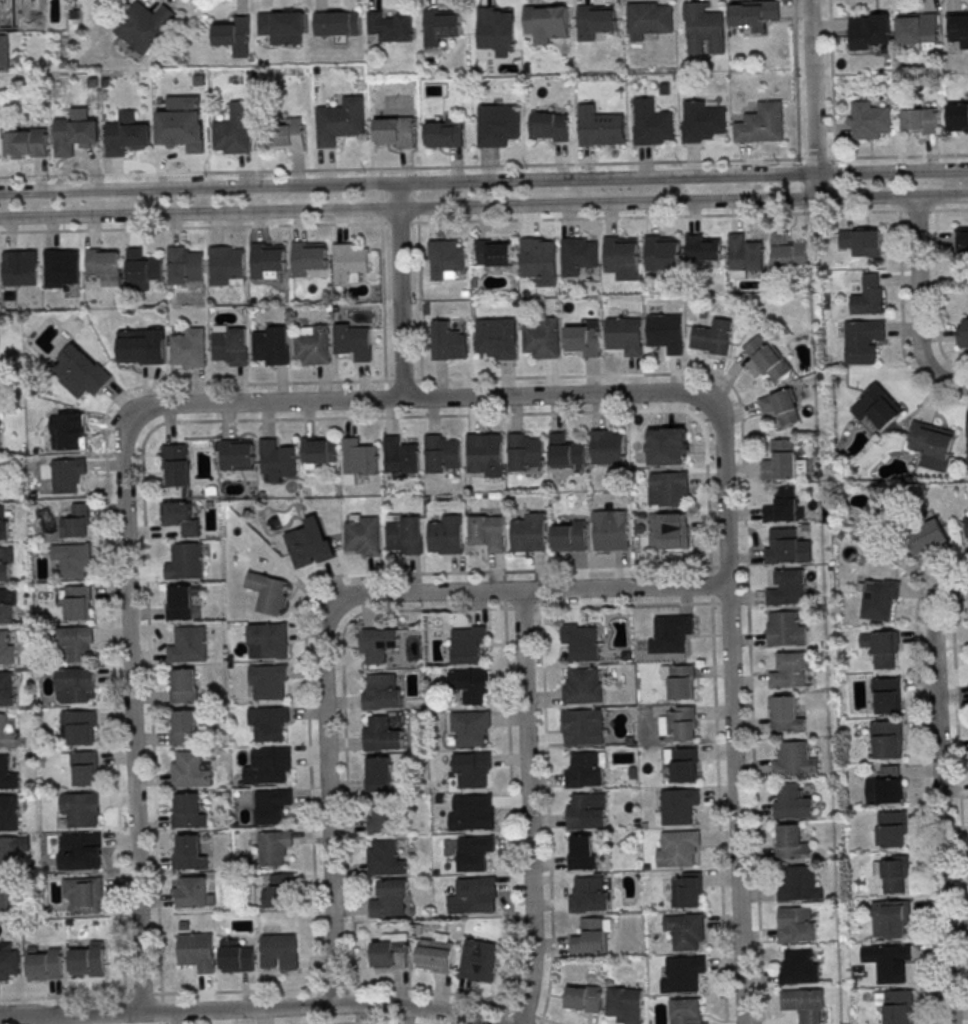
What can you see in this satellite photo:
road: (224, 0)
road: (208, 2)
building: (22, 13)
building: (752, 14)
building: (649, 17)
building: (546, 21)
building: (595, 21)
building: (335, 23)
building: (144, 26)
building: (282, 26)
building: (390, 26)
building: (441, 26)
building: (702, 29)
building: (916, 29)
building: (958, 29)
building: (494, 30)
building: (870, 31)
building: (234, 37)
building: (4, 52)
road: (795, 79)
road: (832, 79)
building: (664, 88)
road: (812, 99)
building: (958, 116)
building: (870, 120)
building: (920, 120)
building: (340, 121)
building: (701, 121)
building: (182, 123)
building: (761, 123)
building: (497, 124)
building: (651, 126)
building: (549, 127)
building: (234, 129)
building: (601, 129)
building: (394, 132)
building: (444, 133)
building: (126, 134)
building: (73, 135)
building: (288, 136)
building: (26, 143)
road: (899, 156)
road: (817, 158)
road: (402, 168)
road: (681, 177)
road: (198, 188)
road: (682, 201)
road: (198, 212)
road: (483, 221)
building: (862, 242)
building: (962, 242)
building: (703, 247)
building: (787, 252)
building: (744, 253)
building: (495, 254)
building: (577, 255)
building: (663, 256)
building: (621, 257)
building: (309, 258)
building: (445, 258)
building: (538, 259)
building: (267, 260)
building: (350, 262)
building: (183, 265)
building: (104, 266)
building: (226, 266)
building: (59, 269)
building: (142, 269)
building: (19, 270)
road: (398, 291)
building: (869, 296)
road: (936, 297)
road: (419, 301)
road: (917, 306)
road: (382, 320)
road: (901, 326)
building: (665, 332)
building: (624, 335)
building: (964, 335)
building: (542, 338)
building: (583, 338)
building: (712, 338)
building: (497, 339)
building: (447, 340)
building: (863, 340)
building: (353, 341)
building: (272, 344)
building: (312, 345)
building: (230, 346)
building: (136, 348)
building: (189, 348)
building: (767, 358)
building: (81, 371)
road: (555, 395)
road: (266, 402)
building: (877, 406)
building: (780, 407)
road: (740, 415)
road: (214, 420)
building: (69, 433)
building: (967, 437)
building: (931, 444)
building: (667, 446)
building: (606, 447)
building: (319, 451)
building: (441, 451)
building: (523, 452)
building: (565, 452)
building: (482, 453)
building: (237, 455)
building: (398, 456)
building: (359, 457)
building: (277, 459)
building: (783, 462)
building: (177, 467)
building: (0, 471)
building: (67, 474)
building: (668, 489)
building: (781, 506)
building: (181, 517)
building: (75, 522)
building: (3, 523)
building: (966, 528)
building: (609, 530)
building: (667, 531)
building: (487, 532)
building: (529, 533)
building: (403, 534)
building: (447, 535)
building: (568, 535)
building: (364, 536)
building: (926, 538)
building: (310, 543)
building: (786, 546)
building: (73, 560)
building: (186, 562)
road: (721, 565)
building: (3, 566)
road: (956, 580)
road: (709, 583)
building: (786, 588)
road: (312, 589)
road: (526, 589)
building: (268, 592)
road: (539, 593)
road: (502, 594)
building: (876, 599)
building: (77, 603)
building: (180, 603)
road: (628, 603)
road: (521, 606)
building: (4, 607)
building: (785, 629)
building: (670, 634)
building: (269, 639)
building: (581, 641)
building: (77, 644)
building: (378, 644)
building: (467, 644)
building: (189, 645)
building: (5, 648)
building: (882, 648)
building: (789, 671)
road: (113, 672)
building: (679, 681)
building: (269, 682)
building: (470, 684)
building: (75, 685)
building: (184, 687)
building: (582, 687)
building: (6, 688)
building: (382, 692)
building: (885, 695)
road: (730, 712)
road: (130, 714)
building: (785, 715)
building: (269, 723)
road: (343, 723)
building: (679, 723)
building: (78, 727)
building: (471, 727)
building: (581, 727)
building: (185, 728)
building: (6, 733)
building: (381, 734)
building: (886, 740)
building: (794, 760)
building: (680, 764)
building: (272, 765)
building: (81, 767)
building: (187, 769)
building: (472, 769)
building: (584, 770)
building: (7, 774)
building: (378, 774)
building: (885, 786)
building: (793, 802)
road: (940, 802)
building: (271, 805)
building: (679, 805)
road: (959, 805)
road: (510, 807)
road: (525, 807)
road: (327, 808)
building: (80, 809)
road: (718, 809)
building: (474, 811)
building: (187, 812)
road: (547, 812)
building: (585, 812)
building: (8, 813)
road: (924, 818)
building: (380, 819)
building: (890, 829)
building: (789, 841)
building: (274, 847)
building: (680, 847)
building: (80, 851)
building: (474, 852)
building: (581, 852)
building: (9, 854)
building: (188, 854)
building: (383, 858)
building: (892, 872)
building: (799, 885)
building: (686, 889)
building: (278, 891)
building: (192, 893)
building: (83, 894)
building: (588, 895)
building: (474, 896)
building: (4, 897)
building: (389, 898)
building: (889, 919)
building: (795, 924)
building: (687, 932)
building: (590, 936)
building: (197, 951)
building: (390, 951)
building: (279, 952)
building: (435, 954)
building: (235, 956)
building: (87, 960)
building: (477, 961)
building: (889, 962)
building: (9, 964)
building: (44, 964)
building: (799, 966)
building: (685, 972)
road: (334, 987)
road: (238, 990)
road: (429, 990)
road: (141, 993)
road: (65, 996)
building: (583, 998)
road: (353, 1000)
road: (317, 1001)
building: (624, 1004)
building: (803, 1004)
road: (161, 1006)
building: (896, 1006)
road: (250, 1009)
building: (683, 1011)
road: (523, 1013)
road: (502, 1019)
road: (546, 1020)
road: (362, 1023)

